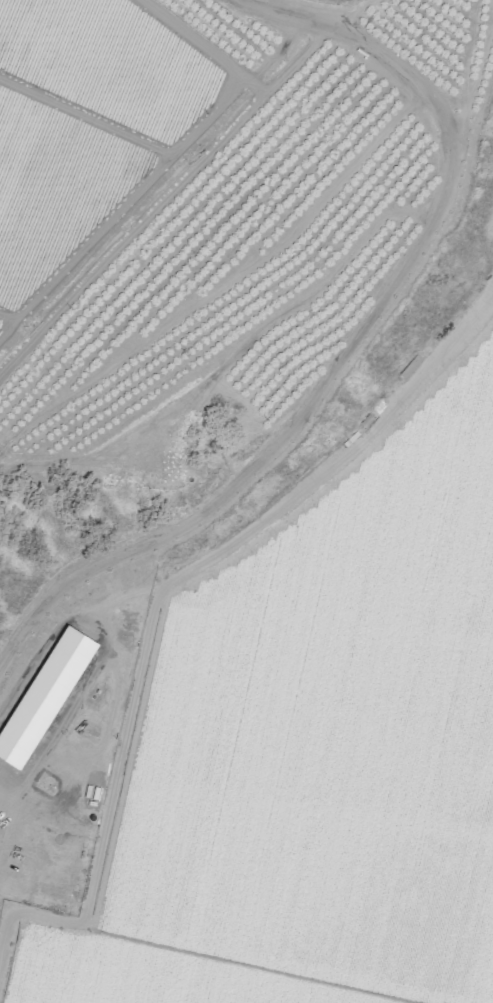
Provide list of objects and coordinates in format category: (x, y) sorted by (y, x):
road: (274, 56)
crop: (110, 64)
road: (258, 85)
road: (85, 116)
road: (163, 161)
crop: (54, 187)
road: (164, 199)
road: (224, 285)
road: (6, 317)
crop: (0, 322)
road: (350, 354)
road: (231, 358)
road: (163, 589)
building: (61, 668)
crop: (314, 749)
road: (1, 944)

